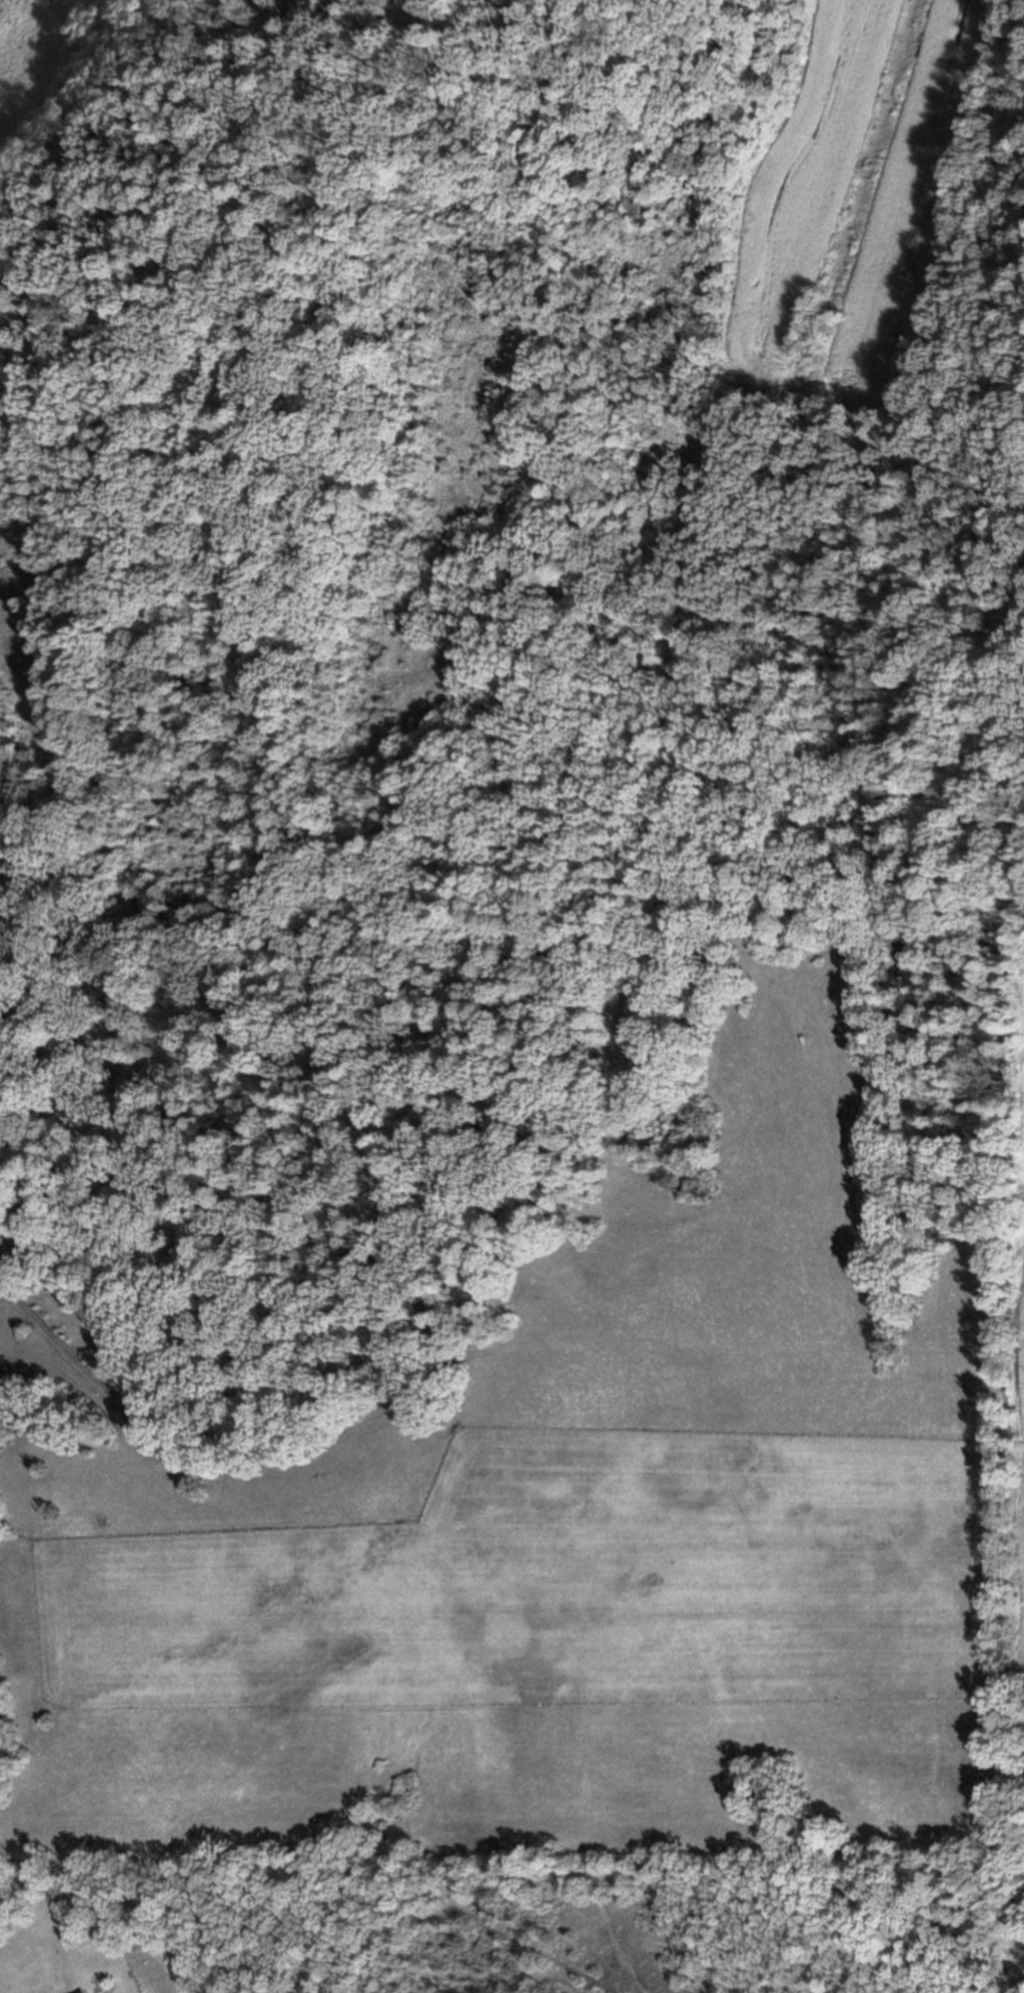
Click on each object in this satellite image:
road: (996, 1932)
building: (83, 1991)

